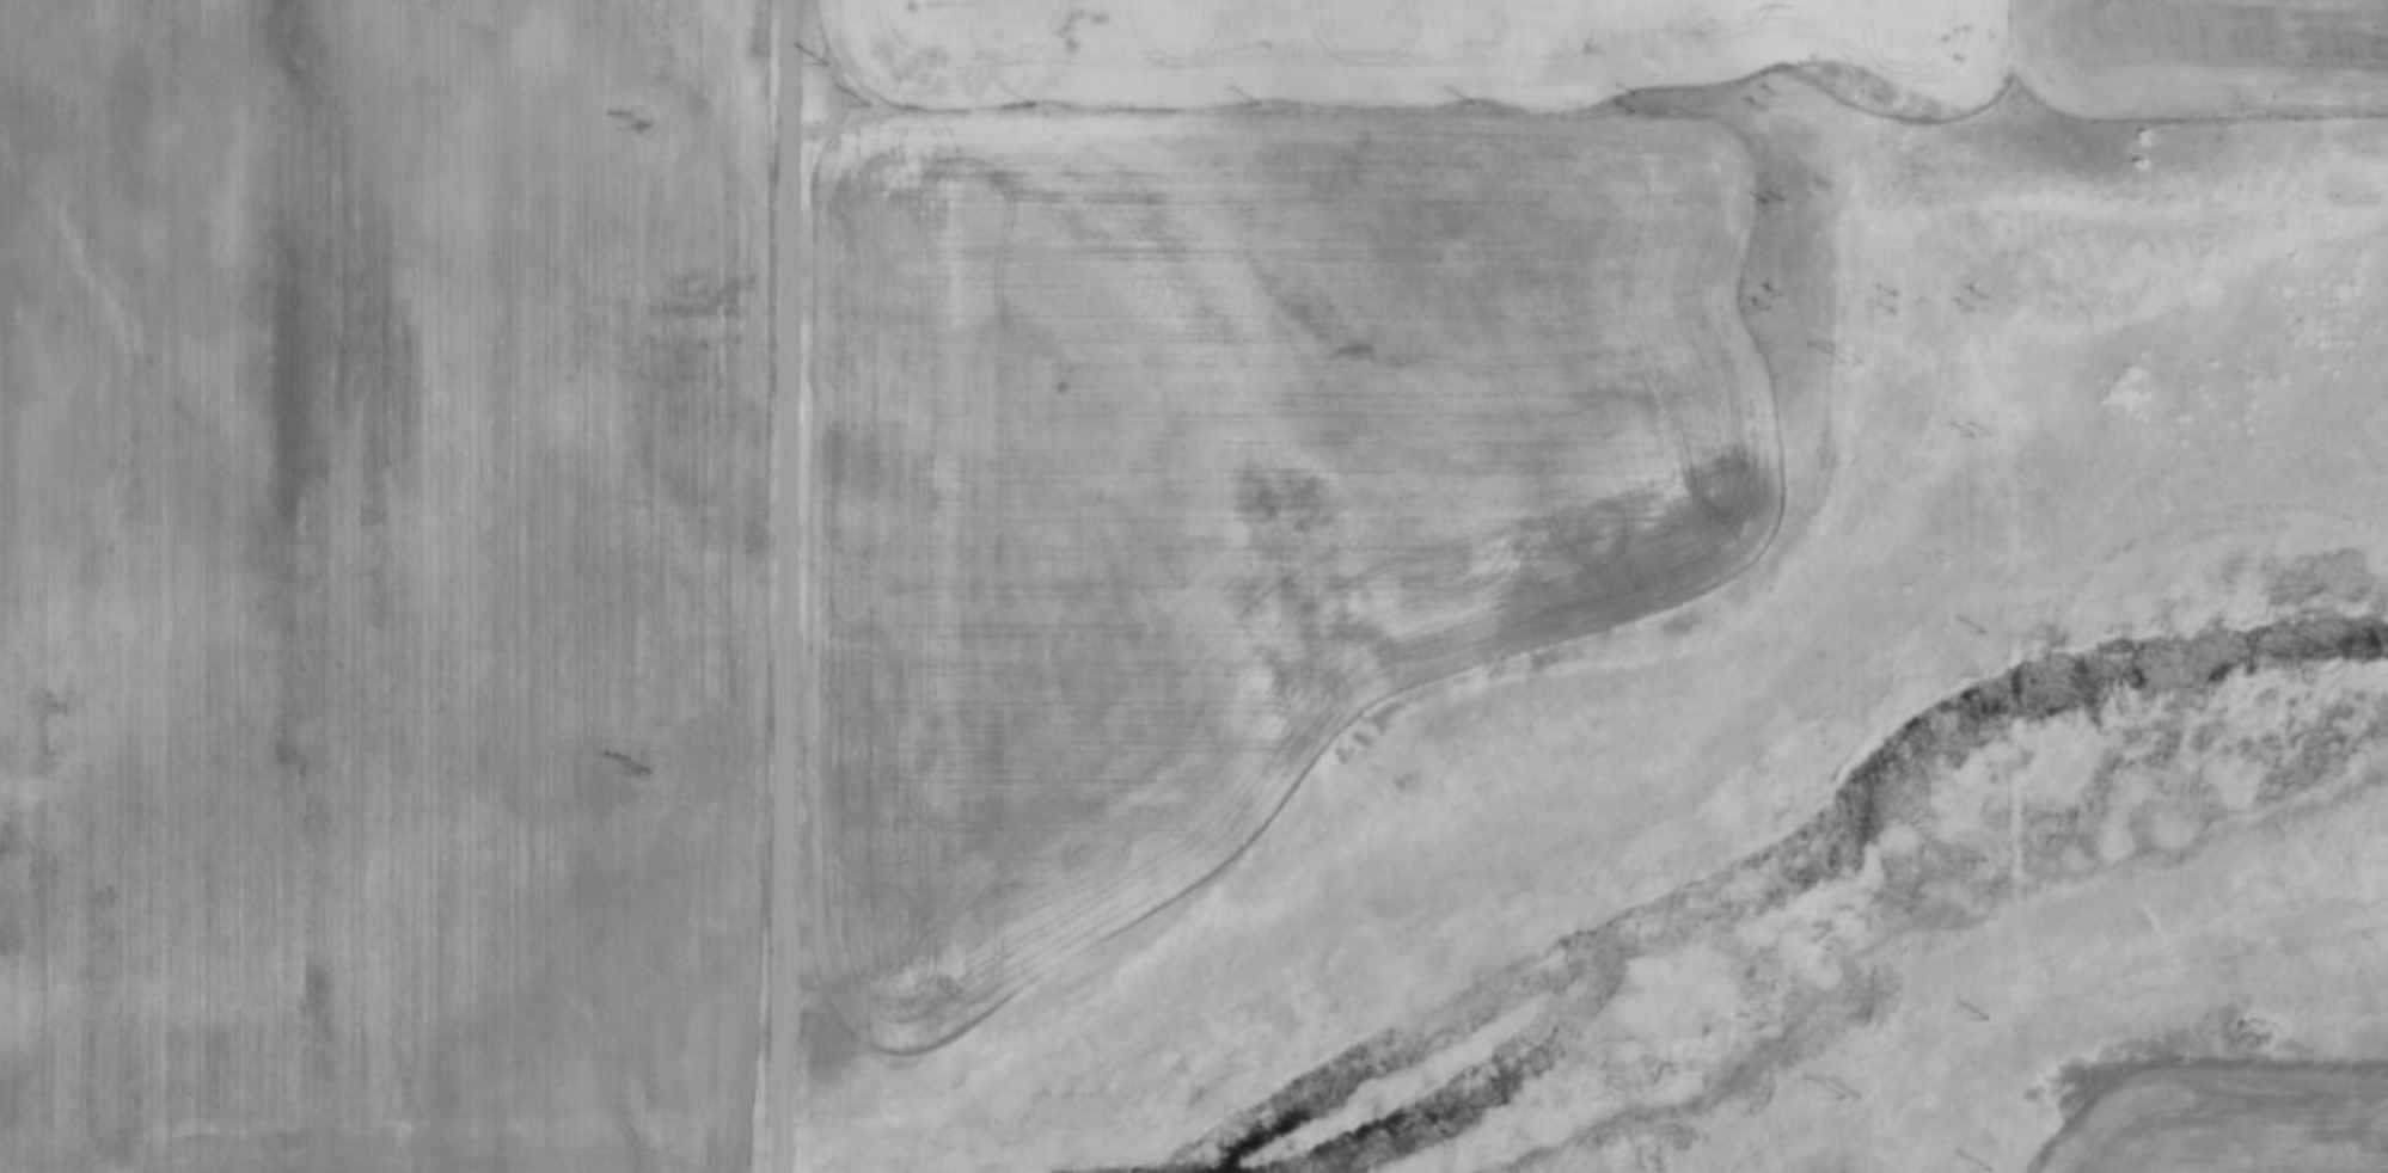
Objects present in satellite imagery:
power tower: (1851, 362)
road: (785, 586)
power tower: (1845, 1098)

